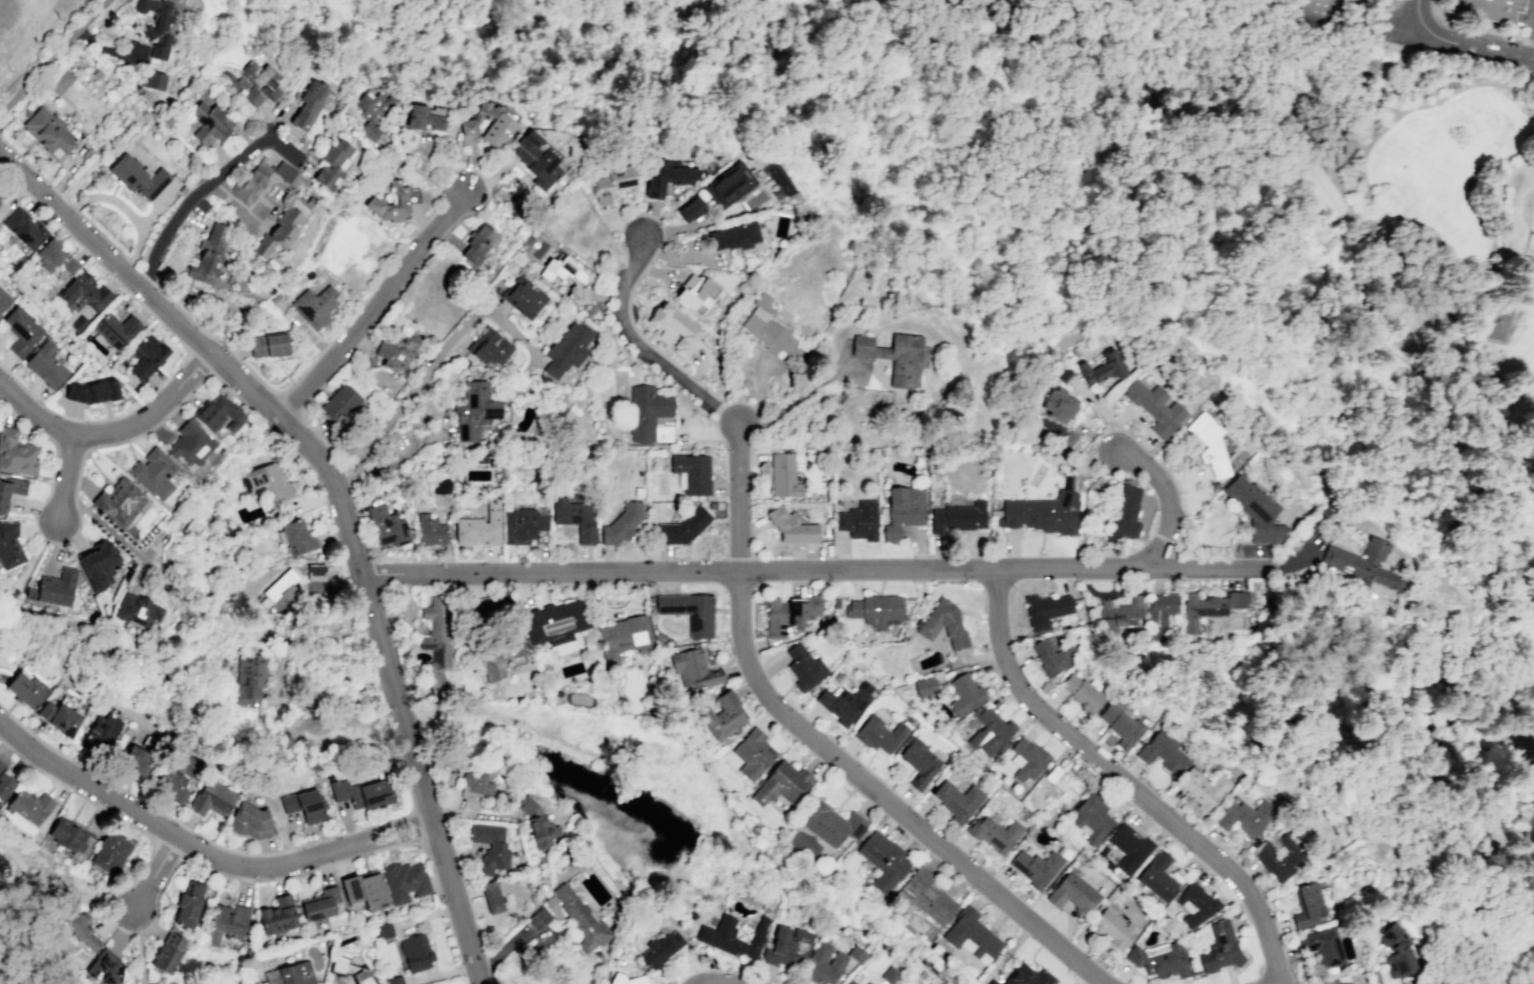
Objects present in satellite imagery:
road: (1165, 7)
building: (1488, 9)
road: (1420, 11)
building: (1319, 13)
road: (1378, 14)
parking lot: (1527, 18)
building: (157, 25)
road: (1405, 26)
road: (1475, 30)
road: (1417, 34)
road: (32, 43)
building: (39, 46)
road: (1475, 48)
road: (107, 49)
road: (1453, 52)
road: (1533, 55)
road: (54, 57)
road: (1367, 59)
parking lot: (1398, 63)
parking lot: (1528, 73)
building: (153, 80)
road: (1207, 81)
building: (60, 82)
building: (258, 83)
road: (1271, 100)
road: (1521, 102)
building: (308, 105)
building: (373, 110)
road: (1530, 115)
building: (424, 117)
building: (209, 121)
road: (1034, 124)
building: (486, 125)
building: (49, 133)
building: (535, 158)
road: (1334, 162)
building: (333, 163)
road: (28, 164)
road: (1215, 168)
building: (137, 177)
building: (665, 177)
building: (296, 182)
building: (612, 182)
road: (202, 186)
building: (729, 186)
park: (1335, 191)
building: (1, 199)
building: (393, 201)
road: (72, 207)
building: (690, 208)
road: (154, 209)
road: (125, 210)
road: (1412, 218)
building: (283, 227)
building: (24, 228)
road: (101, 234)
building: (733, 236)
building: (478, 243)
road: (1333, 248)
building: (50, 254)
building: (209, 254)
road: (1486, 255)
road: (129, 262)
building: (70, 265)
road: (1402, 266)
road: (136, 269)
road: (146, 279)
road: (138, 281)
building: (85, 292)
building: (696, 293)
building: (523, 297)
building: (4, 300)
road: (361, 301)
road: (370, 305)
building: (314, 307)
park: (1444, 313)
road: (1528, 315)
building: (1508, 321)
building: (766, 326)
building: (115, 329)
building: (673, 329)
building: (21, 330)
road: (176, 339)
building: (268, 345)
building: (861, 345)
road: (643, 346)
building: (488, 347)
building: (567, 349)
building: (396, 350)
building: (880, 352)
park: (1330, 353)
building: (146, 356)
road: (286, 356)
building: (903, 359)
building: (46, 365)
road: (200, 366)
building: (1102, 368)
road: (429, 369)
building: (1062, 373)
road: (1505, 380)
building: (92, 391)
road: (795, 399)
building: (339, 403)
building: (1059, 404)
building: (1154, 407)
building: (474, 410)
building: (218, 414)
building: (648, 414)
road: (112, 436)
building: (1066, 439)
road: (1392, 441)
road: (411, 442)
building: (191, 444)
building: (1208, 444)
road: (70, 447)
building: (16, 453)
road: (307, 467)
building: (153, 473)
building: (692, 473)
building: (783, 475)
road: (66, 479)
building: (267, 483)
building: (441, 486)
road: (334, 487)
building: (10, 490)
road: (49, 492)
road: (738, 499)
road: (1170, 500)
building: (119, 501)
road: (76, 503)
building: (902, 509)
building: (1254, 510)
building: (1041, 513)
building: (1124, 514)
building: (957, 517)
building: (574, 518)
building: (858, 520)
building: (621, 523)
building: (523, 524)
building: (480, 526)
building: (791, 526)
building: (386, 527)
building: (683, 527)
building: (430, 530)
building: (296, 537)
road: (118, 538)
building: (9, 545)
road: (1308, 562)
building: (98, 563)
building: (1364, 563)
road: (24, 569)
road: (1217, 570)
building: (315, 572)
road: (756, 573)
road: (1281, 583)
building: (53, 589)
park: (4, 603)
building: (1209, 607)
building: (875, 609)
building: (1045, 609)
building: (1118, 611)
building: (137, 612)
building: (688, 612)
building: (789, 613)
building: (1160, 613)
building: (555, 622)
building: (943, 623)
building: (436, 636)
building: (623, 638)
road: (1267, 649)
building: (498, 653)
building: (1053, 657)
building: (804, 667)
building: (693, 669)
road: (1445, 677)
building: (250, 678)
road: (1349, 680)
building: (923, 686)
road: (1290, 690)
building: (964, 693)
building: (1083, 694)
building: (844, 702)
building: (722, 715)
building: (58, 717)
road: (1436, 724)
building: (1120, 725)
building: (103, 730)
building: (990, 732)
building: (879, 734)
building: (1162, 752)
building: (753, 754)
building: (1026, 759)
building: (136, 760)
building: (918, 762)
building: (185, 765)
building: (1, 766)
road: (222, 770)
road: (423, 778)
road: (1124, 782)
building: (781, 783)
building: (476, 784)
building: (5, 786)
building: (172, 786)
building: (1202, 787)
building: (1062, 788)
building: (361, 793)
road: (884, 798)
building: (213, 799)
building: (957, 800)
building: (304, 805)
building: (30, 806)
building: (1244, 815)
building: (1092, 818)
building: (252, 822)
building: (537, 824)
building: (830, 824)
road: (414, 827)
road: (390, 828)
road: (163, 829)
building: (995, 833)
building: (69, 836)
road: (204, 838)
road: (394, 840)
building: (490, 847)
building: (1129, 847)
road: (164, 854)
building: (110, 855)
building: (1279, 857)
building: (883, 860)
road: (174, 865)
building: (1035, 866)
road: (155, 873)
building: (1157, 877)
building: (405, 881)
building: (364, 891)
building: (1072, 893)
building: (927, 896)
building: (491, 897)
building: (319, 904)
building: (1195, 904)
building: (188, 906)
building: (1307, 906)
building: (277, 915)
building: (578, 915)
building: (538, 918)
road: (2, 920)
building: (226, 923)
building: (1112, 928)
building: (384, 930)
building: (82, 931)
building: (715, 933)
building: (971, 936)
road: (140, 946)
building: (1323, 946)
building: (787, 947)
building: (661, 948)
building: (1221, 950)
building: (1395, 951)
building: (415, 952)
building: (169, 954)
building: (1160, 959)
building: (823, 964)
building: (340, 966)
building: (106, 967)
road: (470, 971)
building: (290, 974)
building: (889, 975)
building: (1027, 976)
building: (361, 977)
building: (627, 979)
building: (394, 980)
building: (849, 981)
building: (1339, 981)
building: (868, 983)

